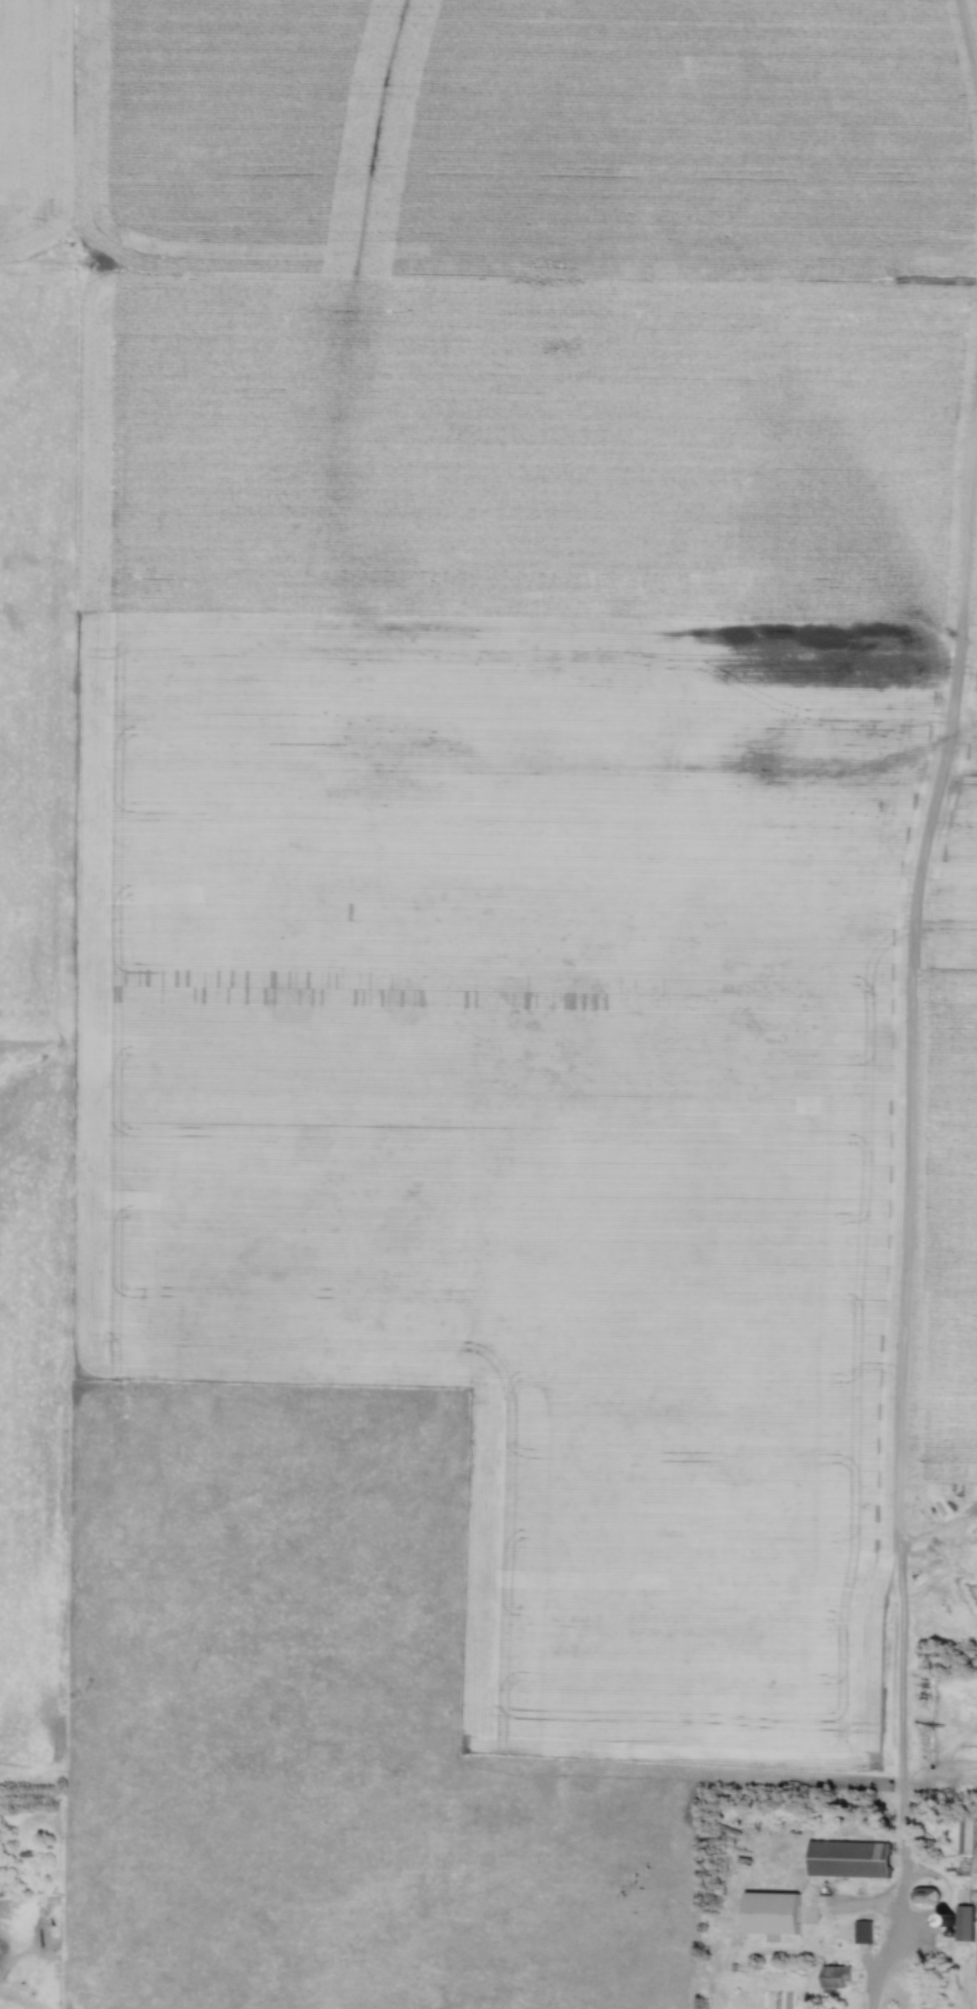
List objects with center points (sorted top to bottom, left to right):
building: (967, 1835)
building: (930, 1846)
building: (849, 1859)
building: (925, 1896)
building: (778, 1913)
building: (965, 1924)
building: (865, 1933)
road: (881, 1961)
building: (836, 1978)

